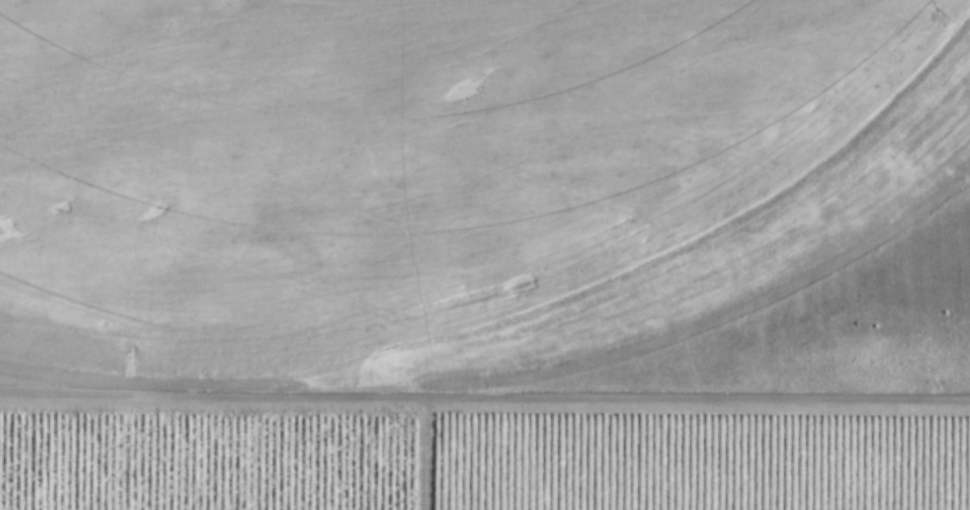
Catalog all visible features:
crop: (443, 189)

